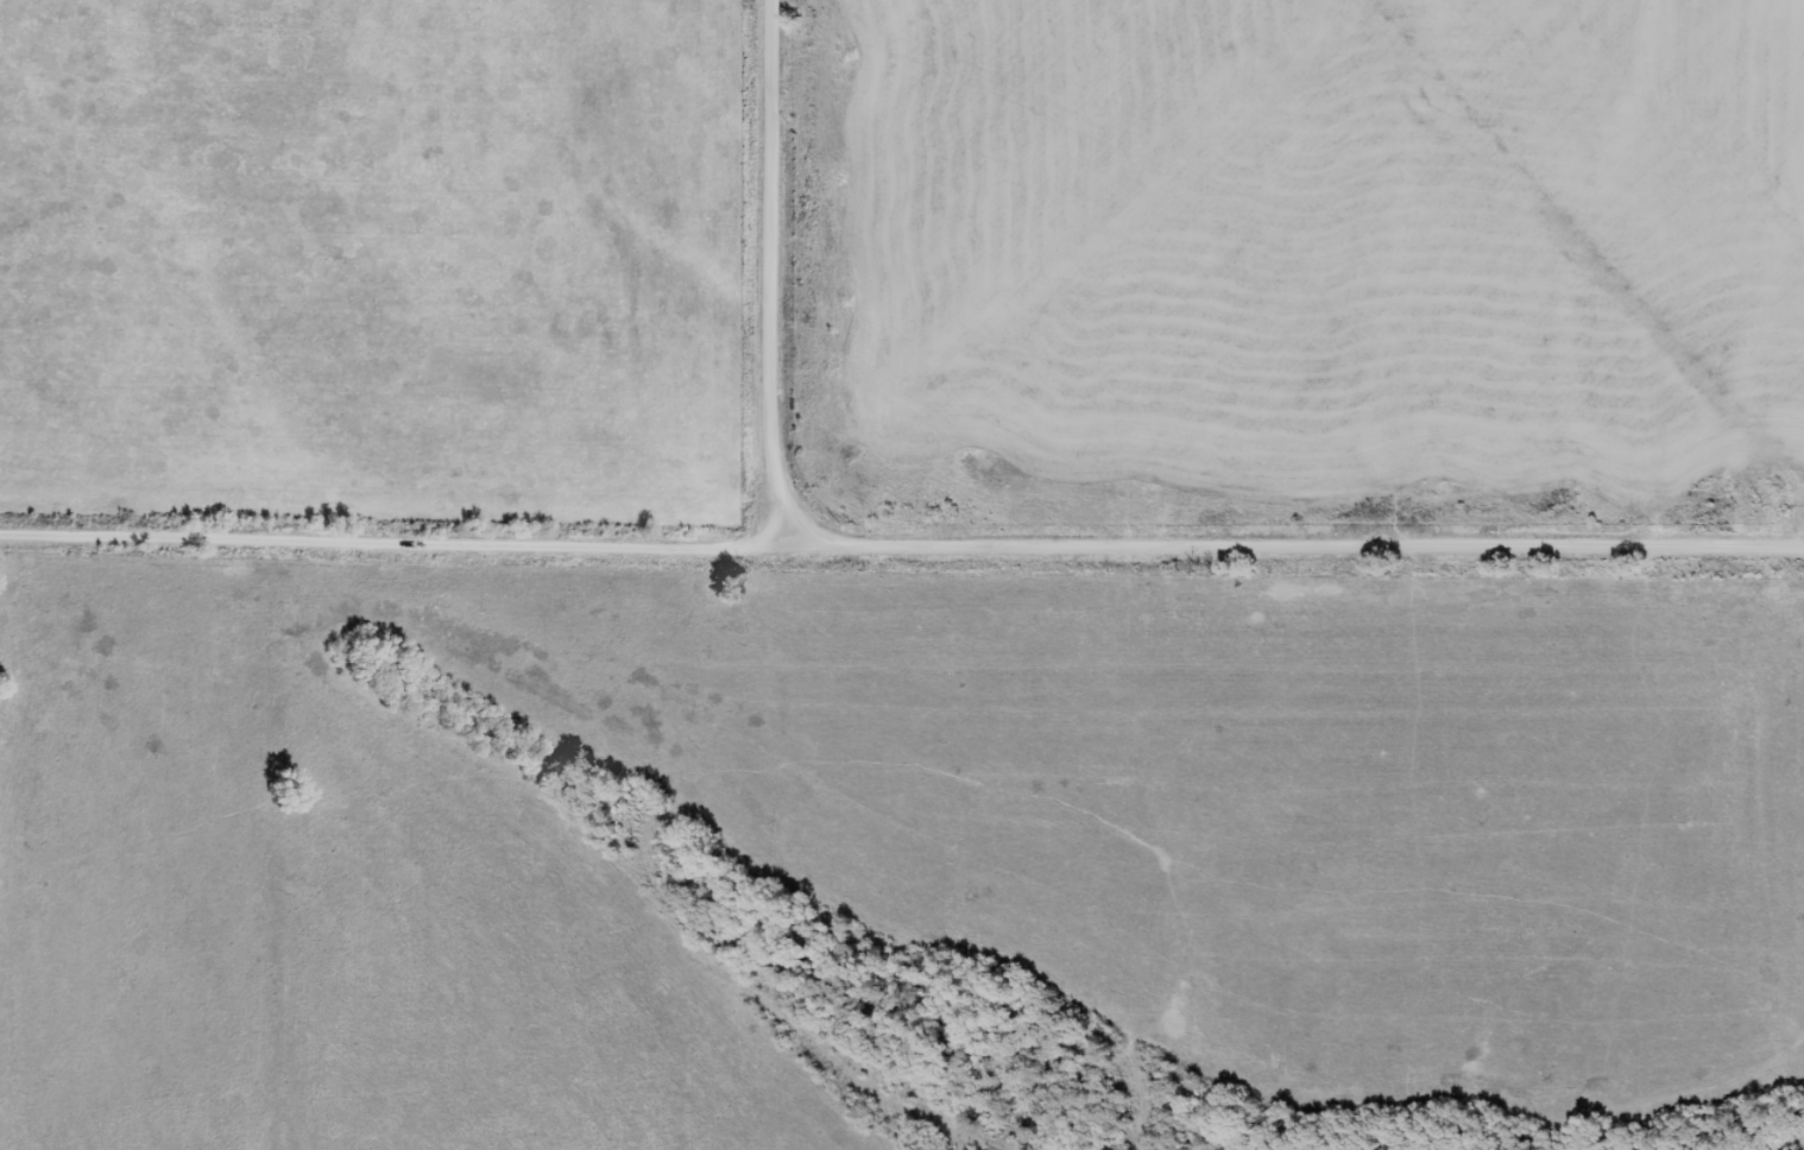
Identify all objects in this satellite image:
road: (771, 271)
road: (404, 531)
road: (1305, 546)

